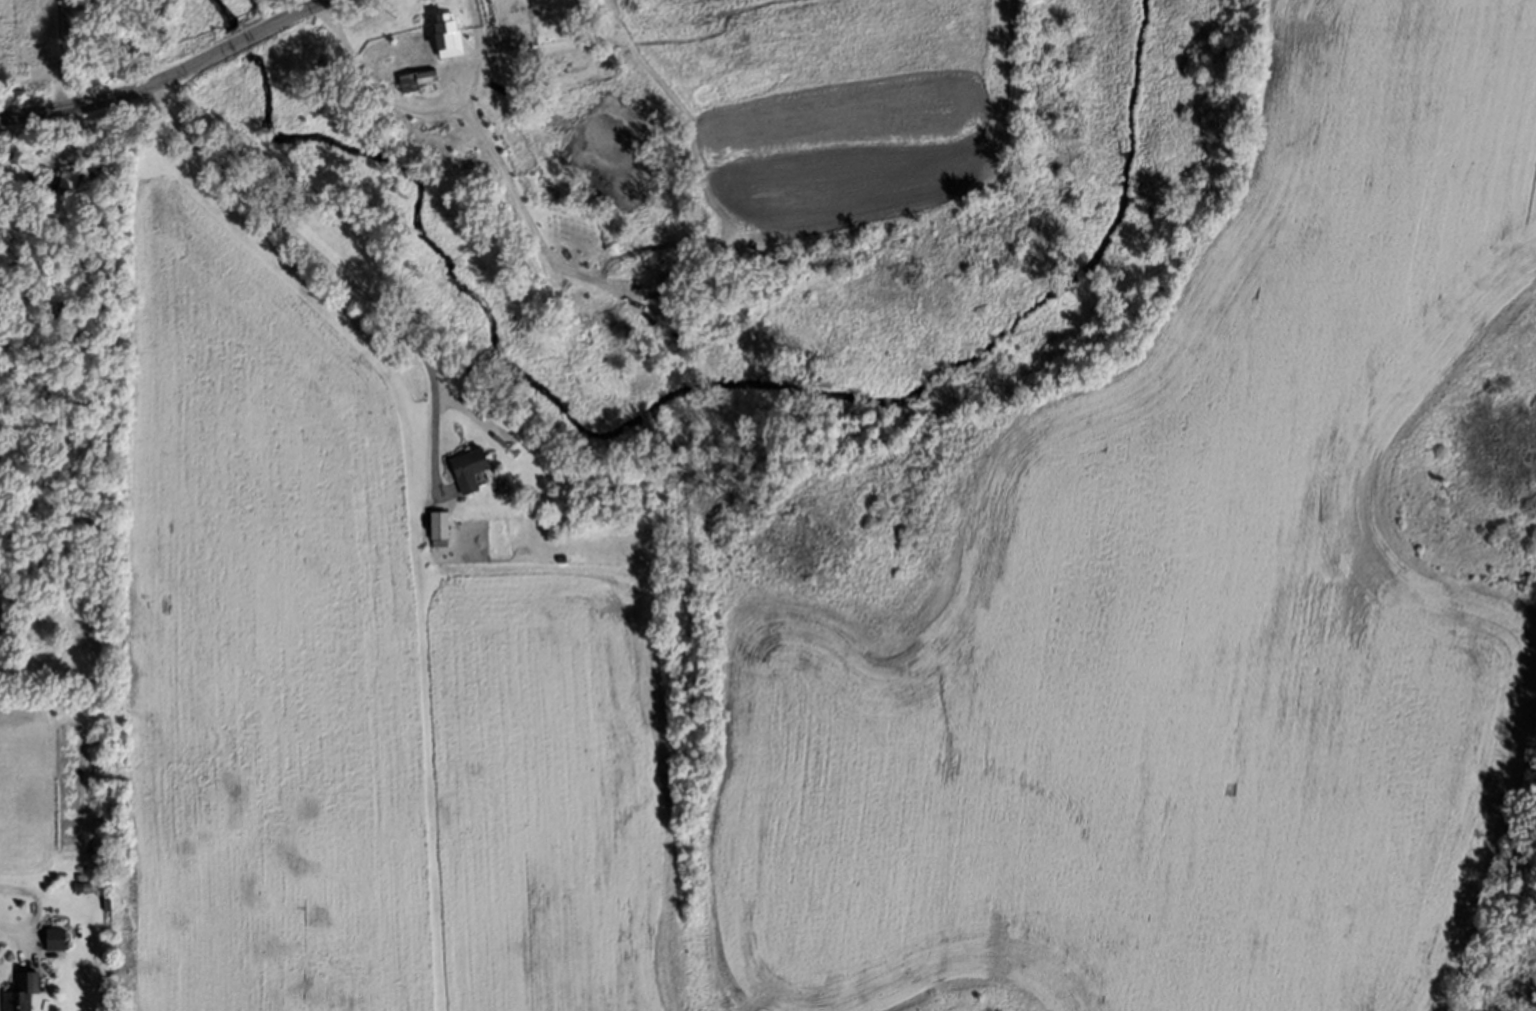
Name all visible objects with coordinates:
road: (169, 76)
building: (424, 80)
building: (493, 105)
building: (73, 180)
road: (324, 265)
building: (475, 470)
road: (7, 933)
building: (26, 993)

